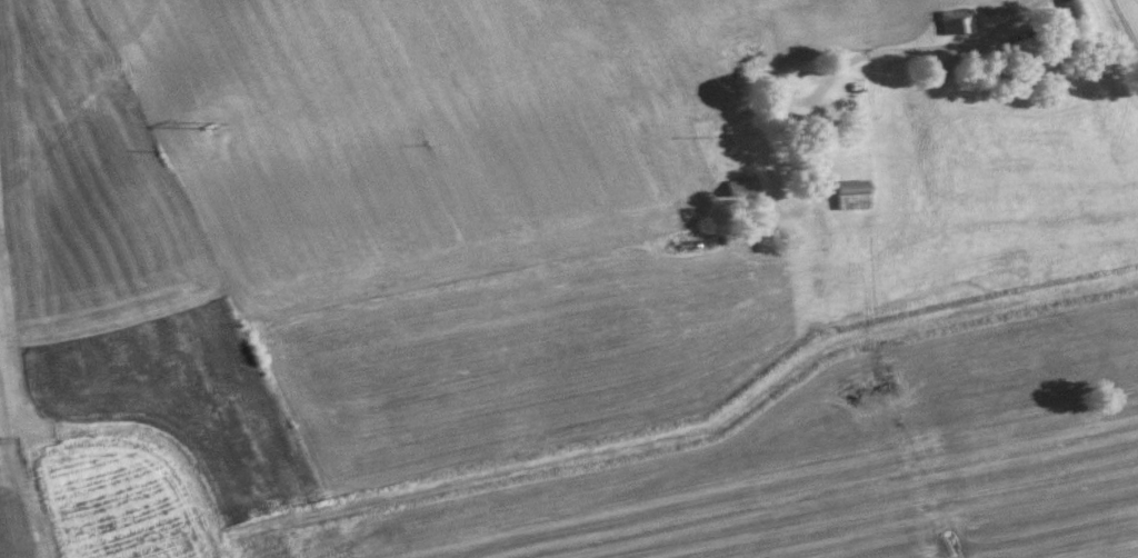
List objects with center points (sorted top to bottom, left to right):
building: (1078, 12)
building: (956, 20)
building: (1028, 48)
road: (929, 49)
building: (783, 52)
building: (797, 126)
building: (743, 188)
building: (855, 195)

